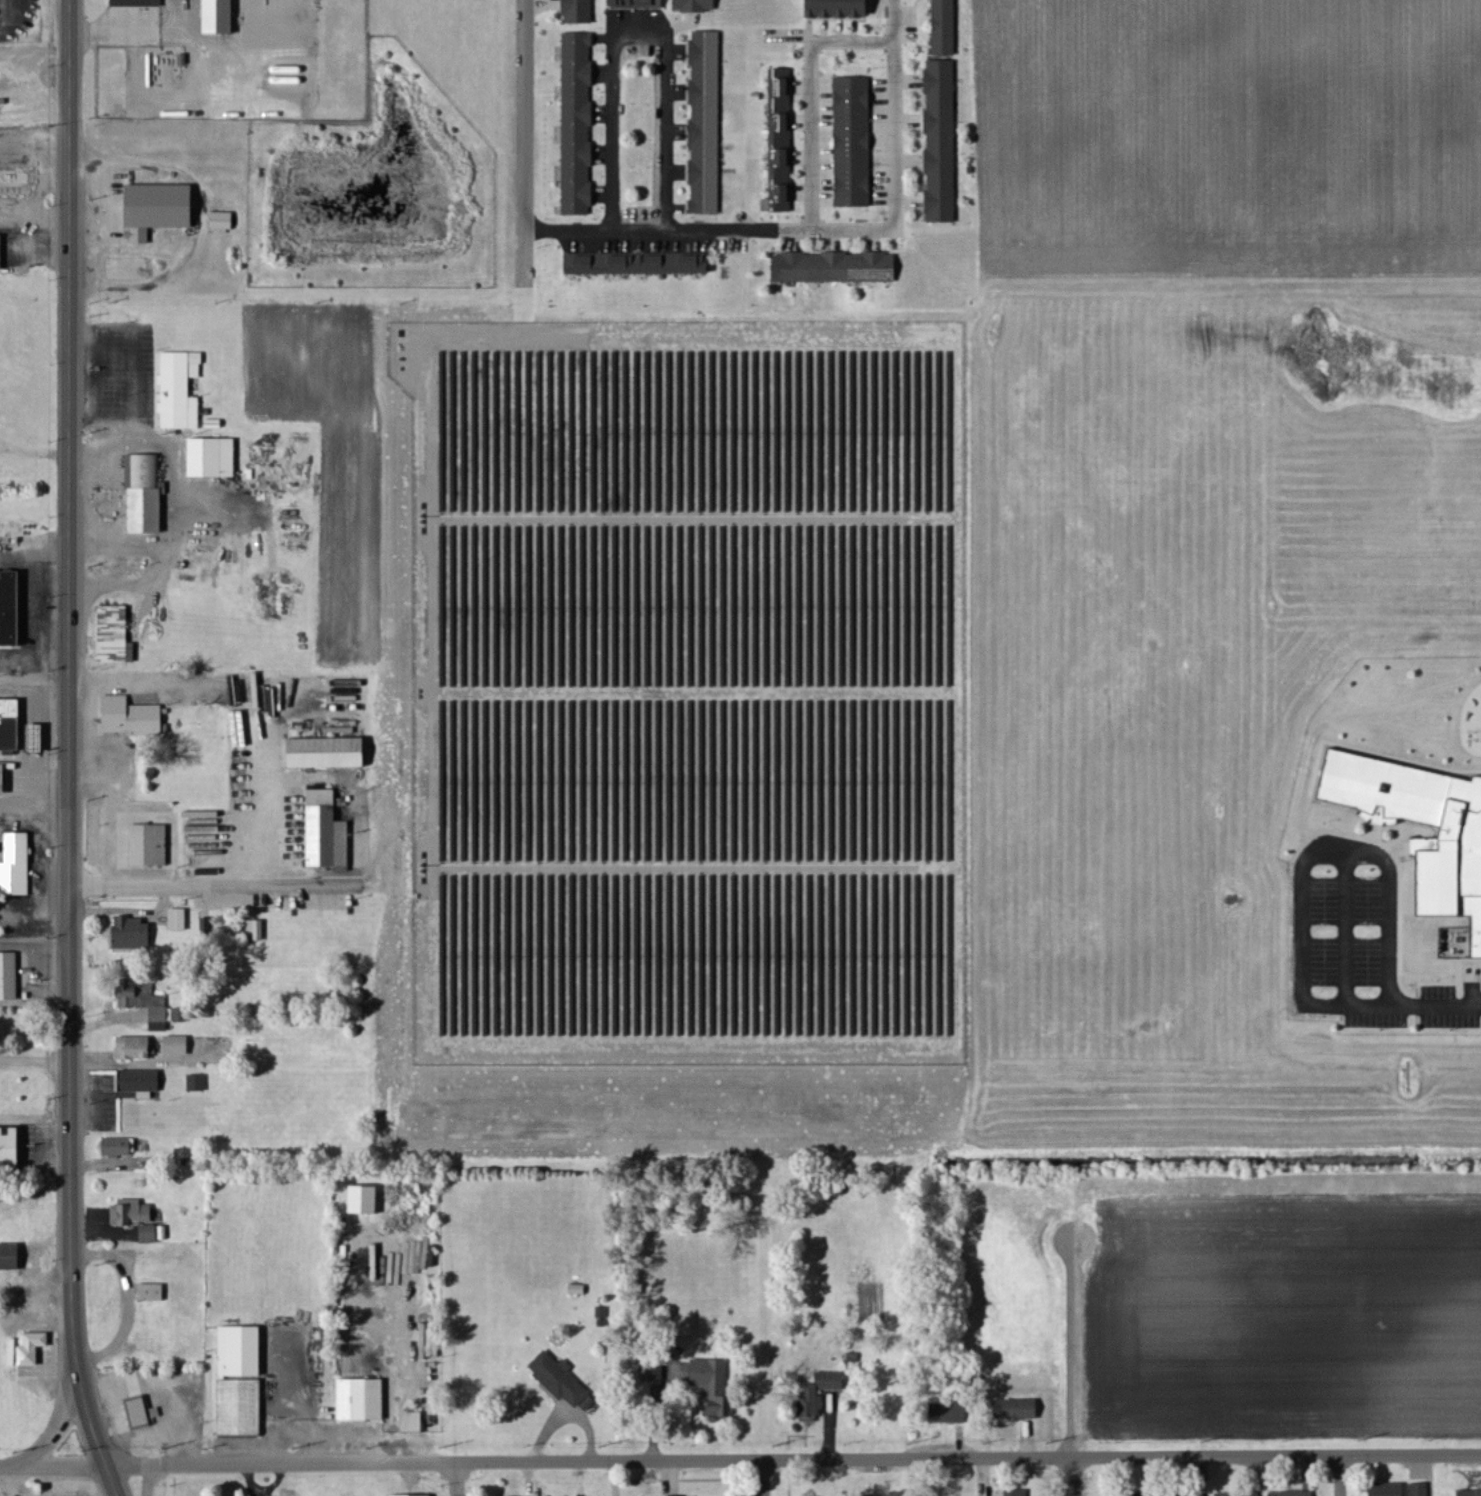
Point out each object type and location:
building: (136, 3)
building: (639, 4)
building: (695, 6)
building: (839, 9)
building: (579, 12)
building: (220, 17)
road: (633, 28)
building: (945, 28)
road: (850, 37)
road: (34, 96)
road: (893, 110)
building: (706, 123)
building: (578, 125)
road: (665, 128)
road: (609, 132)
road: (810, 133)
road: (521, 135)
road: (34, 141)
building: (781, 142)
building: (854, 142)
building: (941, 142)
building: (159, 210)
road: (34, 212)
building: (223, 221)
road: (706, 223)
building: (1, 253)
building: (638, 264)
building: (836, 268)
building: (180, 390)
building: (213, 458)
building: (145, 495)
road: (33, 549)
building: (10, 610)
building: (116, 636)
road: (33, 650)
solar farm: (688, 692)
road: (89, 709)
building: (131, 718)
building: (10, 726)
road: (67, 751)
building: (329, 754)
building: (2, 780)
road: (108, 801)
building: (327, 833)
road: (33, 840)
building: (150, 846)
building: (1448, 852)
road: (1301, 863)
building: (16, 867)
road: (228, 880)
building: (178, 920)
building: (206, 927)
building: (256, 931)
building: (133, 935)
building: (9, 976)
building: (129, 994)
road: (1440, 1005)
building: (168, 1015)
road: (104, 1022)
building: (177, 1045)
building: (134, 1048)
building: (141, 1083)
building: (197, 1083)
road: (26, 1125)
building: (119, 1147)
building: (11, 1148)
road: (33, 1159)
building: (366, 1199)
building: (132, 1213)
building: (149, 1234)
building: (10, 1257)
building: (152, 1292)
road: (34, 1297)
building: (429, 1343)
building: (33, 1348)
building: (653, 1370)
building: (237, 1379)
building: (561, 1381)
building: (714, 1387)
building: (820, 1394)
building: (362, 1400)
building: (1017, 1410)
building: (140, 1413)
building: (950, 1414)
road: (63, 1419)
building: (415, 1422)
road: (740, 1461)
road: (1341, 1476)
road: (919, 1477)
road: (1074, 1477)
road: (763, 1478)
road: (459, 1479)
road: (149, 1480)
building: (1420, 1489)
building: (1388, 1490)
building: (1017, 1493)
building: (1470, 1493)
building: (1239, 1494)
building: (1292, 1494)
building: (410, 1495)
building: (891, 1495)
building: (1144, 1495)
building: (1184, 1495)

